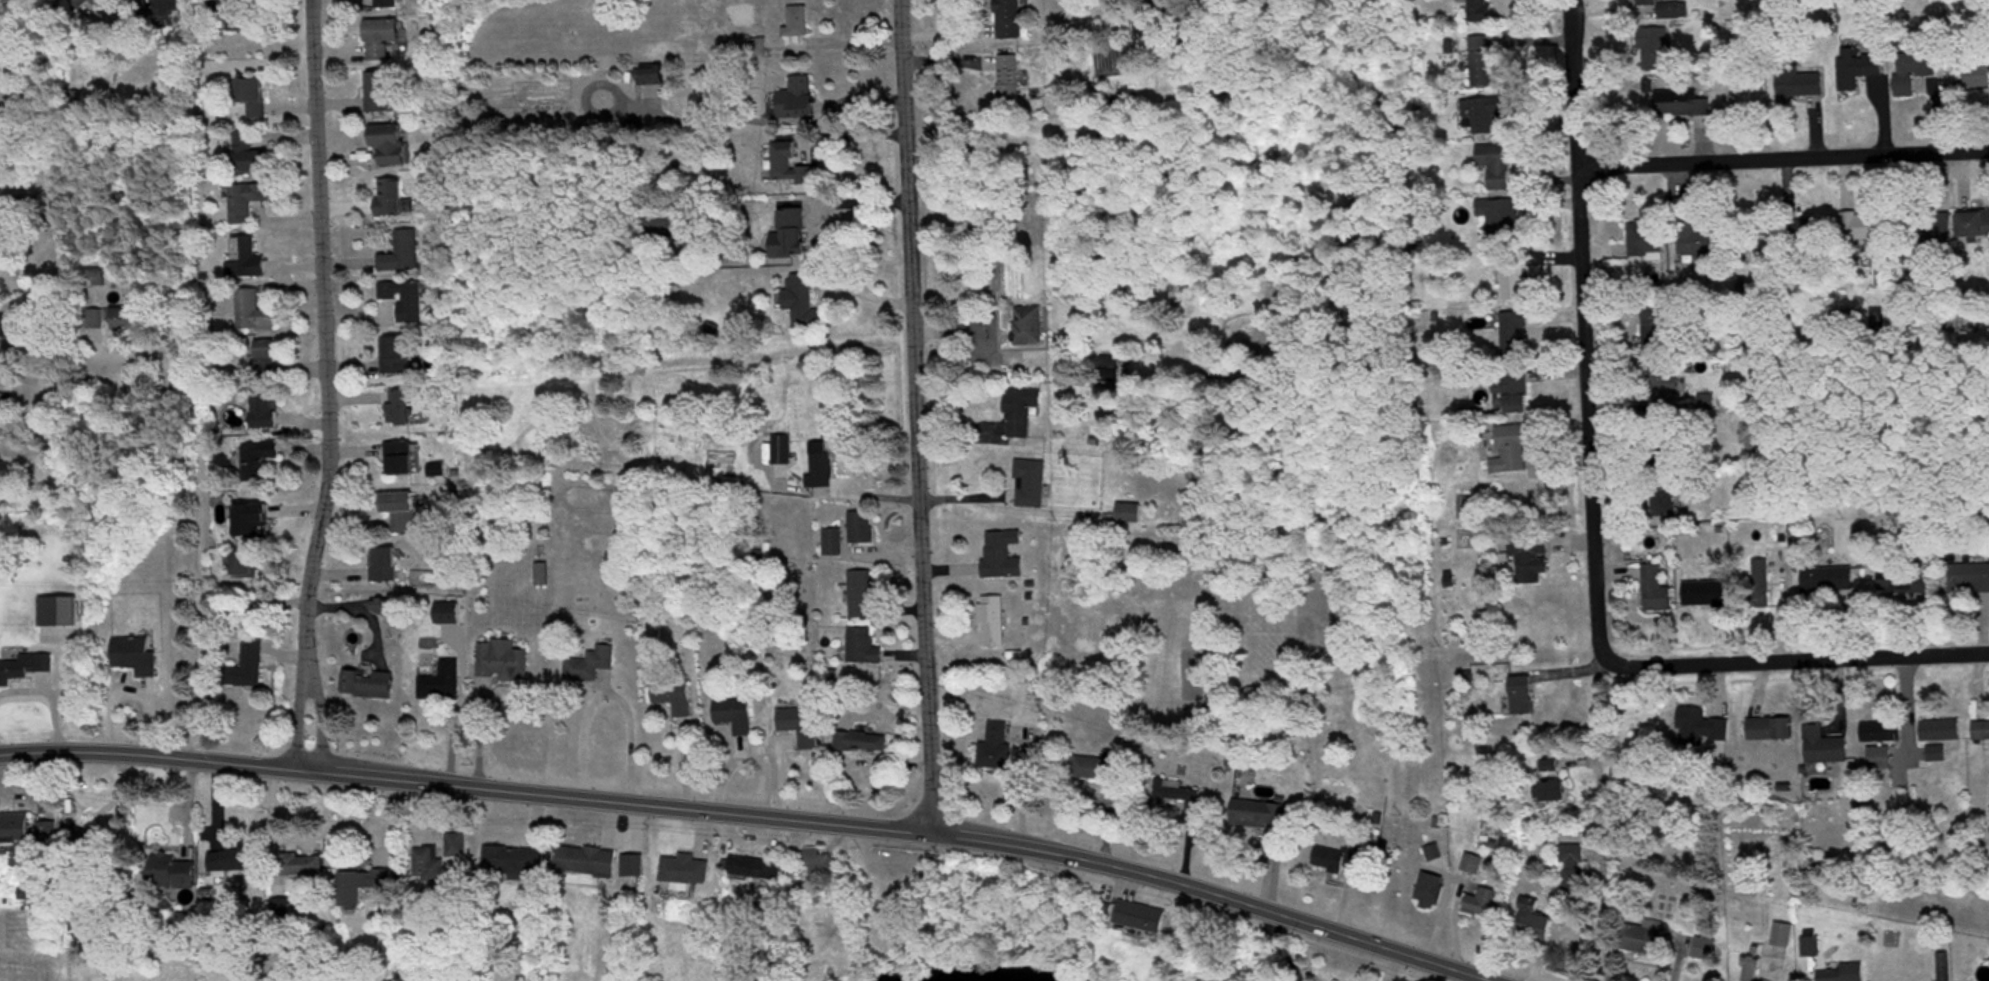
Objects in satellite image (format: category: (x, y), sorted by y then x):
building: (1653, 1)
building: (107, 2)
building: (387, 6)
building: (161, 10)
building: (1481, 13)
building: (240, 19)
building: (1009, 20)
building: (798, 27)
building: (383, 41)
building: (1656, 51)
road: (1579, 53)
building: (1483, 64)
building: (1923, 69)
building: (1859, 72)
building: (1982, 76)
building: (655, 78)
building: (1009, 83)
building: (1802, 85)
building: (1647, 91)
building: (381, 95)
building: (254, 99)
building: (799, 102)
building: (1683, 106)
building: (1488, 117)
building: (1088, 134)
building: (391, 146)
building: (249, 157)
road: (1781, 159)
building: (792, 169)
building: (1500, 170)
building: (393, 200)
building: (247, 203)
building: (1502, 223)
building: (671, 224)
building: (1975, 226)
building: (1875, 229)
building: (1810, 232)
building: (1942, 233)
building: (792, 237)
building: (1647, 242)
building: (1704, 242)
building: (404, 255)
building: (249, 261)
building: (1881, 274)
building: (1513, 281)
building: (407, 302)
building: (804, 304)
building: (253, 312)
building: (110, 321)
building: (1029, 328)
road: (1582, 328)
building: (1658, 329)
building: (1515, 337)
building: (396, 357)
building: (266, 364)
road: (321, 387)
building: (1513, 391)
building: (1699, 408)
building: (401, 410)
building: (6, 411)
building: (267, 413)
building: (1021, 414)
road: (911, 417)
building: (1514, 450)
building: (782, 451)
building: (401, 461)
building: (260, 462)
building: (821, 474)
building: (1031, 486)
building: (1665, 506)
building: (402, 513)
building: (1130, 515)
building: (253, 523)
building: (862, 530)
road: (185, 540)
building: (834, 544)
building: (1003, 557)
building: (1532, 559)
building: (385, 567)
building: (247, 568)
building: (543, 576)
building: (1969, 580)
building: (1829, 582)
building: (1906, 583)
building: (1657, 591)
building: (1707, 595)
building: (863, 596)
building: (1761, 598)
building: (383, 608)
building: (251, 611)
building: (448, 614)
building: (994, 623)
building: (864, 649)
building: (137, 657)
road: (1795, 659)
building: (502, 662)
building: (252, 663)
building: (590, 666)
building: (27, 667)
building: (442, 683)
building: (369, 685)
building: (675, 697)
building: (1523, 697)
building: (736, 716)
building: (802, 727)
building: (1702, 729)
building: (1772, 730)
road: (1272, 732)
building: (1982, 732)
building: (1942, 733)
building: (1882, 734)
building: (862, 743)
building: (997, 749)
building: (1828, 751)
building: (1881, 760)
building: (1550, 768)
building: (1100, 769)
building: (1552, 794)
building: (1179, 797)
building: (1260, 816)
road: (750, 817)
road: (1584, 817)
building: (18, 829)
building: (49, 836)
building: (85, 841)
building: (457, 847)
building: (244, 859)
building: (1338, 861)
building: (589, 863)
building: (514, 864)
building: (819, 864)
building: (430, 866)
building: (1473, 866)
building: (303, 867)
building: (760, 870)
building: (686, 871)
building: (1576, 871)
building: (175, 874)
building: (363, 887)
building: (1432, 893)
building: (1484, 904)
building: (1140, 922)
building: (1536, 923)
building: (1783, 936)
building: (1645, 940)
building: (1811, 949)
building: (1699, 950)
building: (1943, 967)
building: (1751, 970)
building: (1844, 974)

